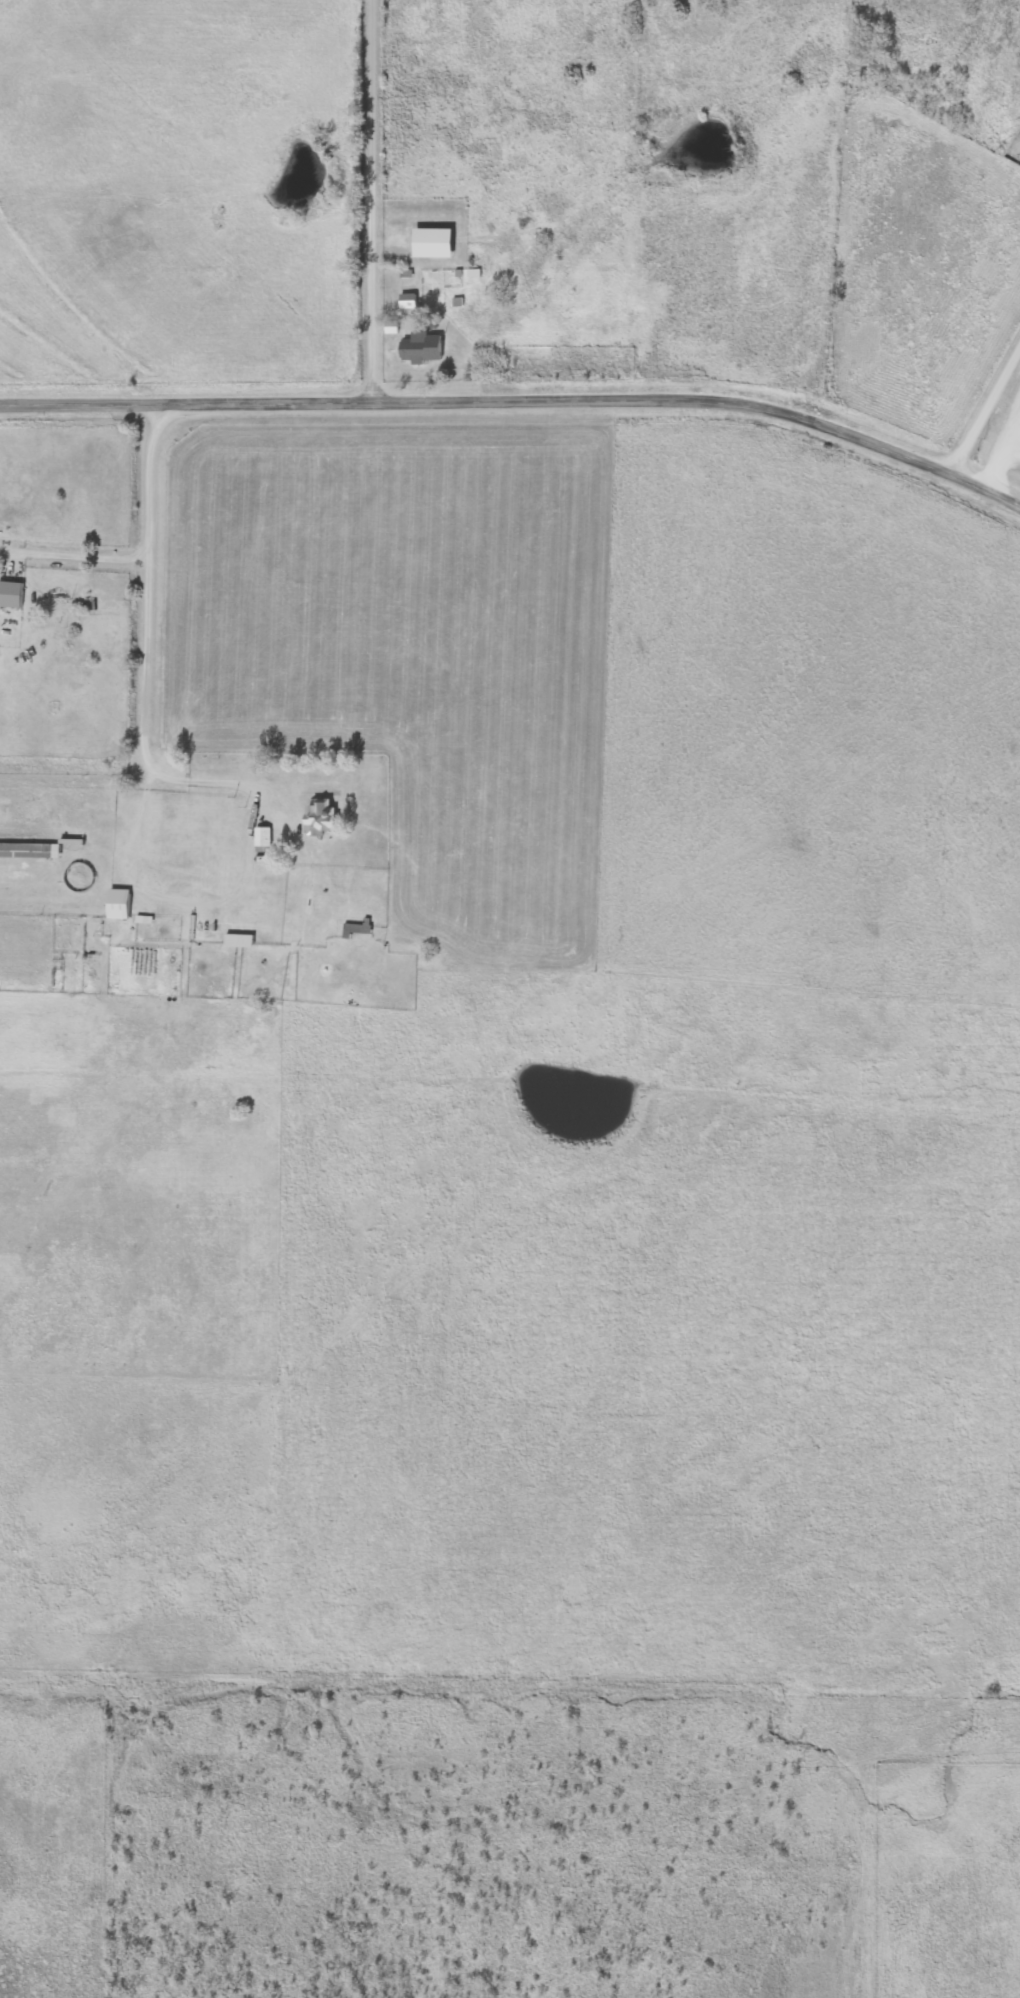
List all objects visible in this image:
road: (373, 200)
building: (429, 242)
building: (418, 347)
road: (519, 400)
road: (983, 406)
road: (77, 558)
building: (10, 594)
road: (145, 642)
building: (318, 818)
building: (260, 839)
building: (28, 850)
building: (115, 903)
building: (356, 928)
building: (236, 940)

